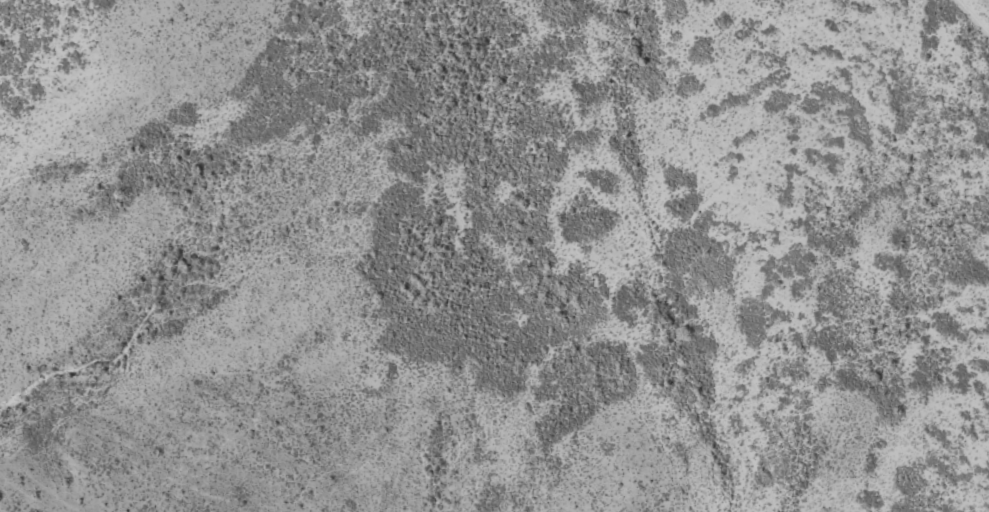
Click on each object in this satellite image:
road: (981, 8)

